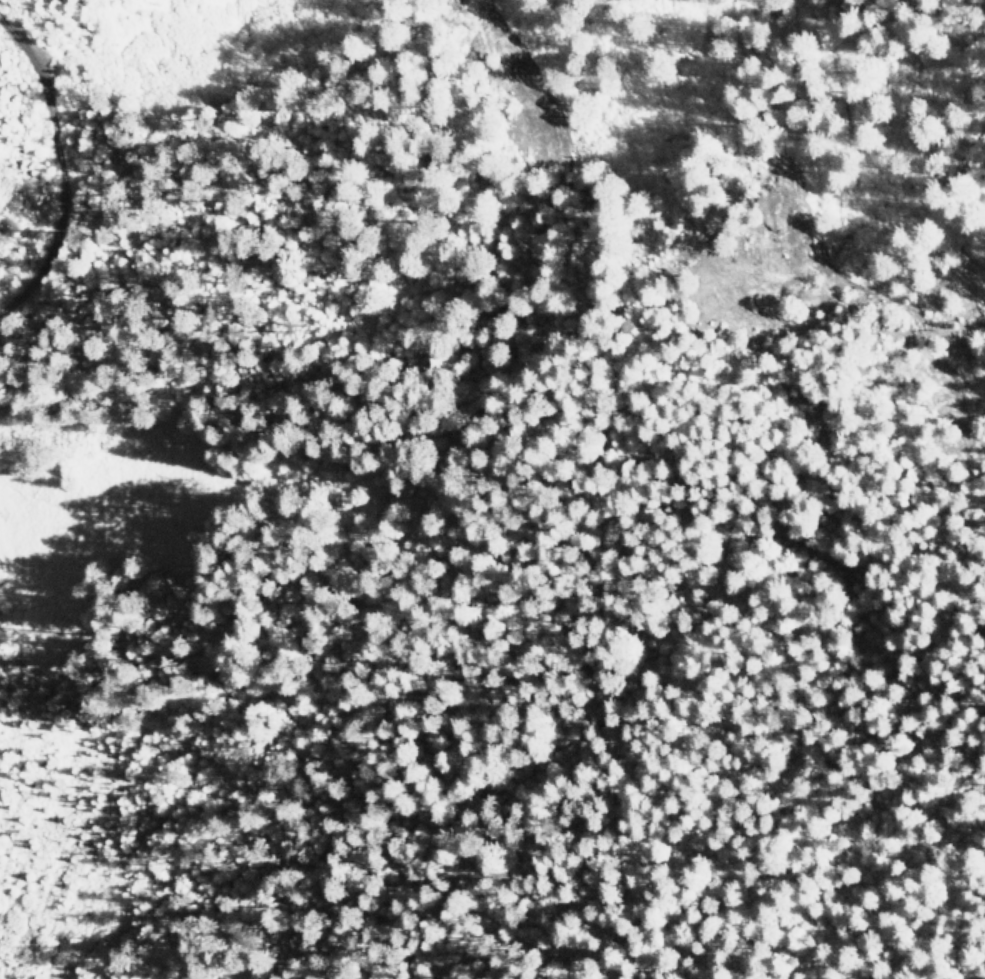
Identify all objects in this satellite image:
road: (62, 167)

